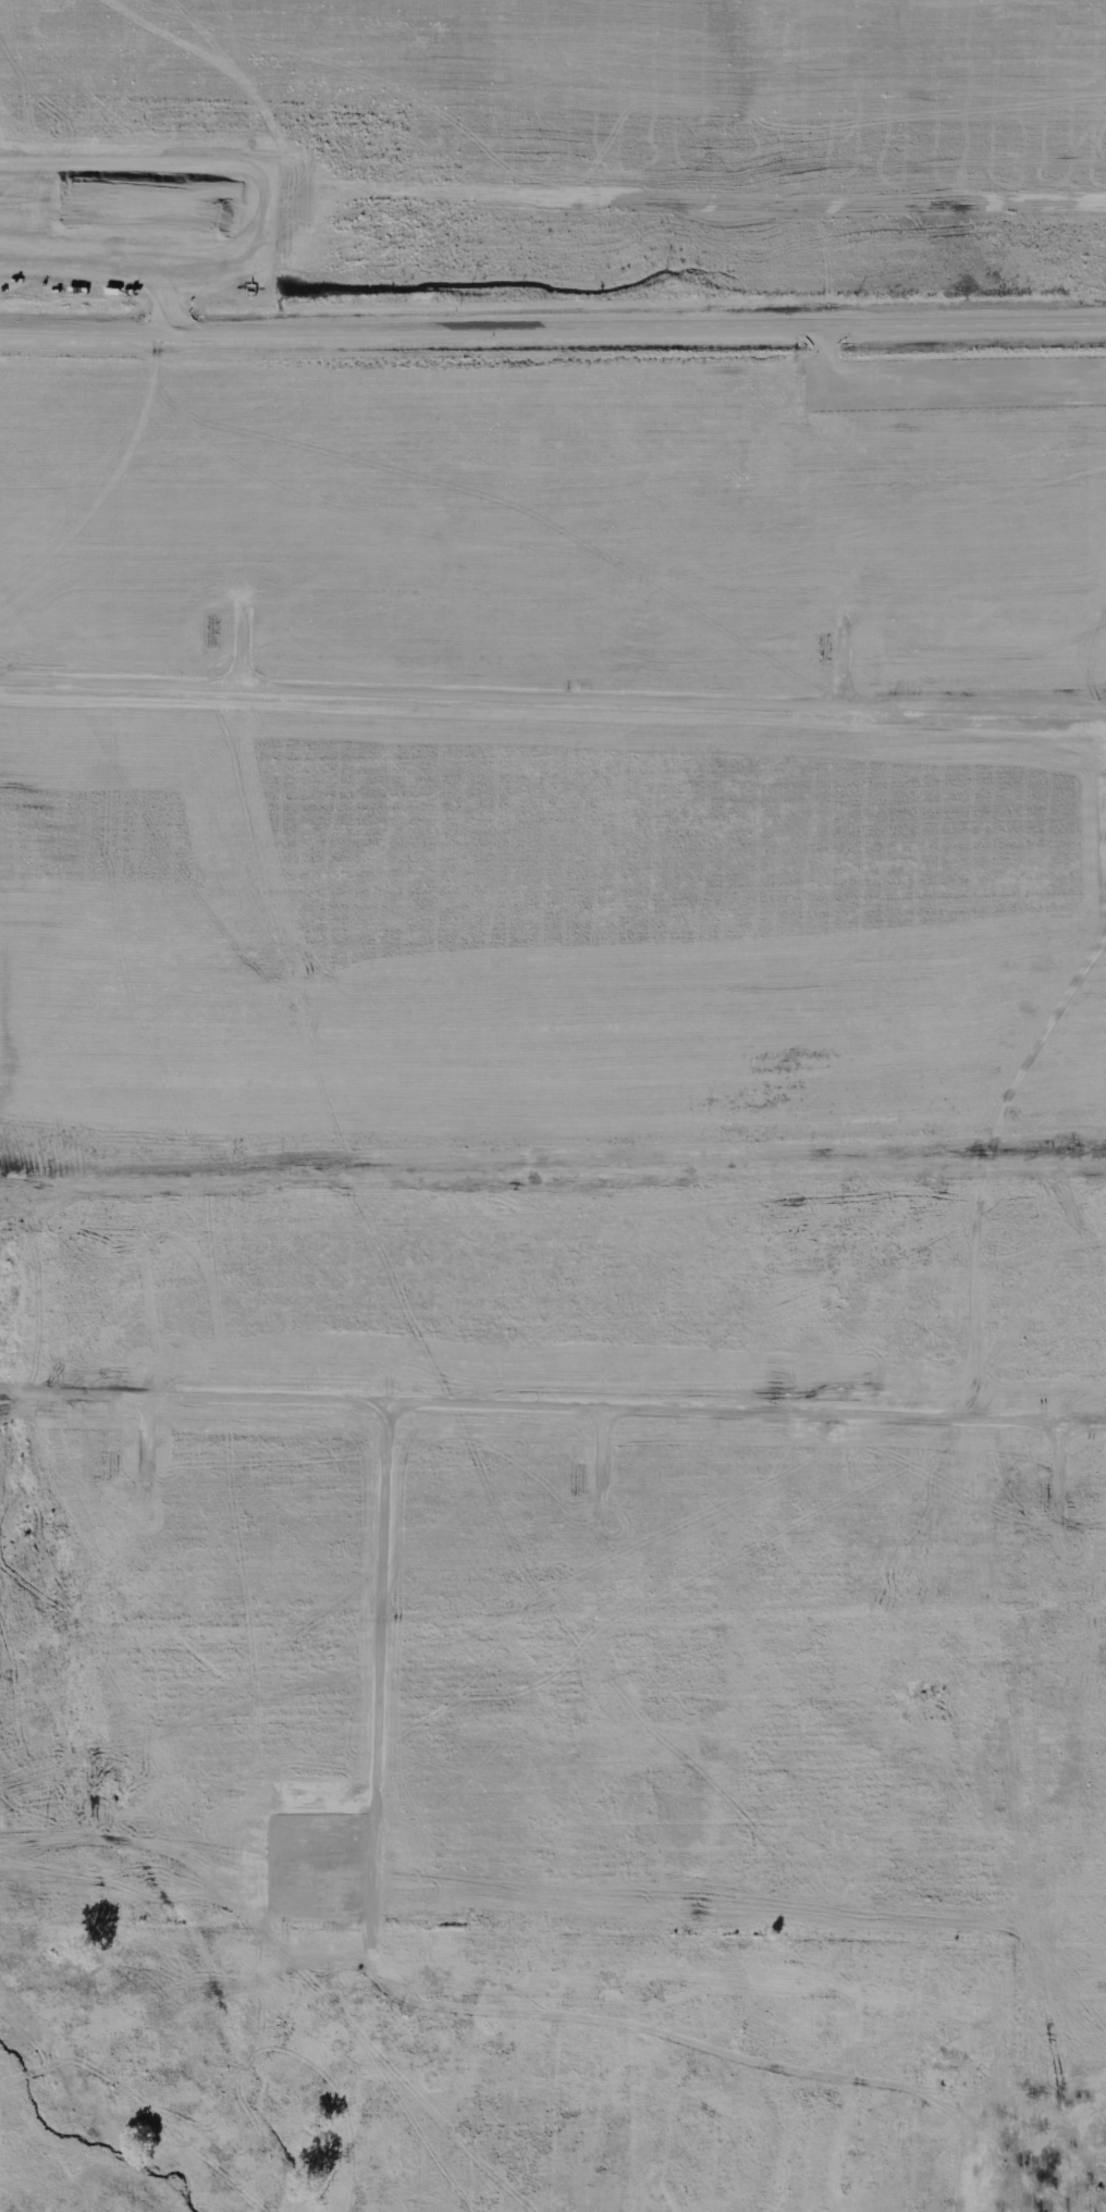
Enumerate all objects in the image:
road: (552, 330)

